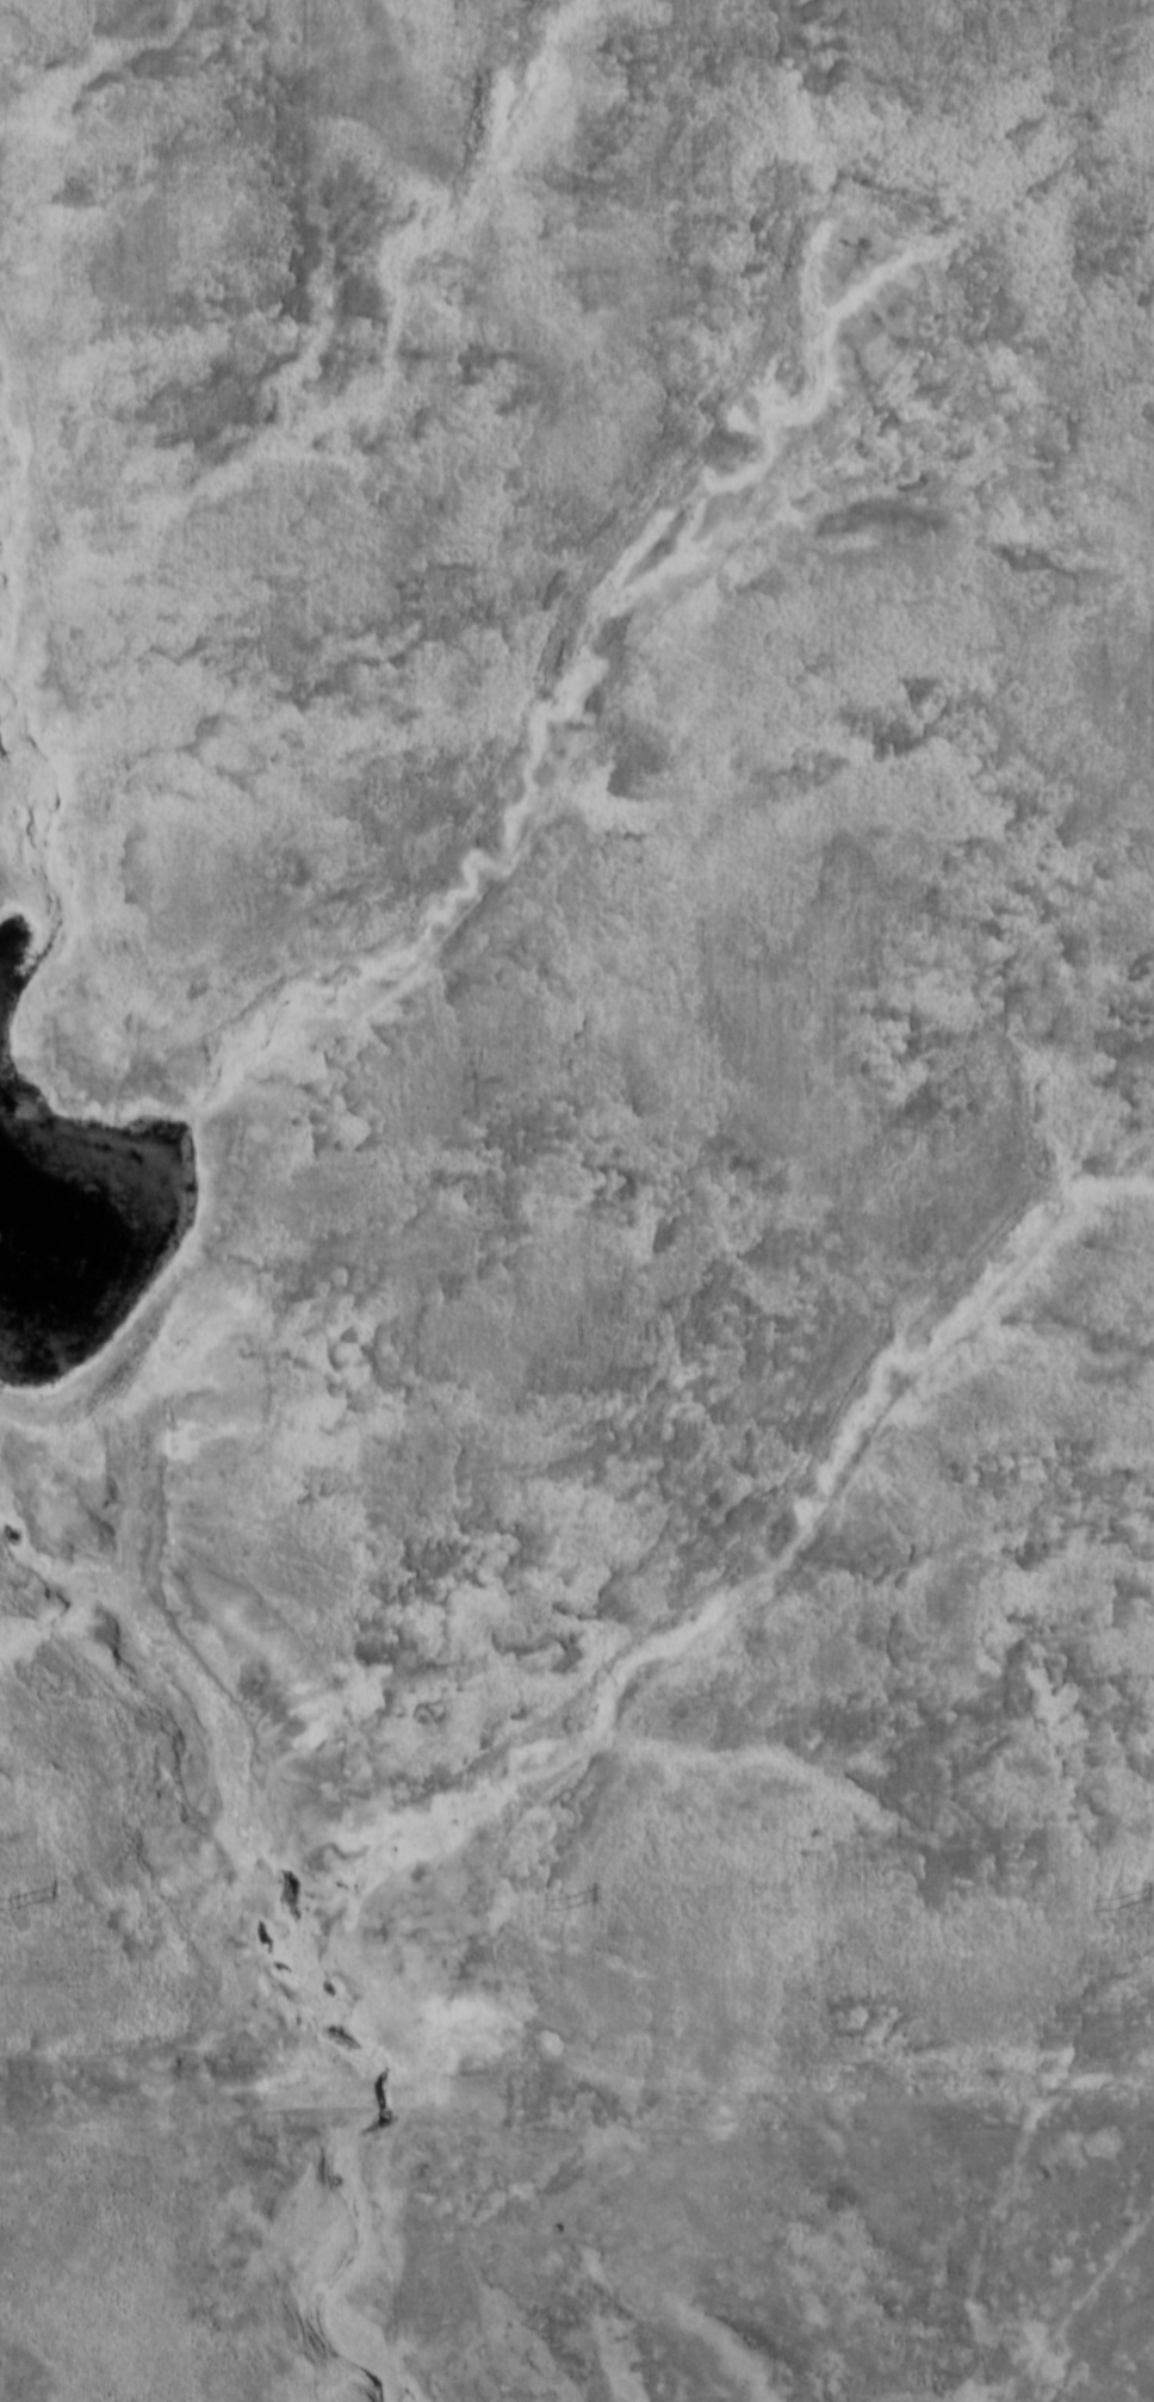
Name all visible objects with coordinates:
power tower: (15, 1903)
power tower: (565, 1905)
power tower: (1116, 1905)

